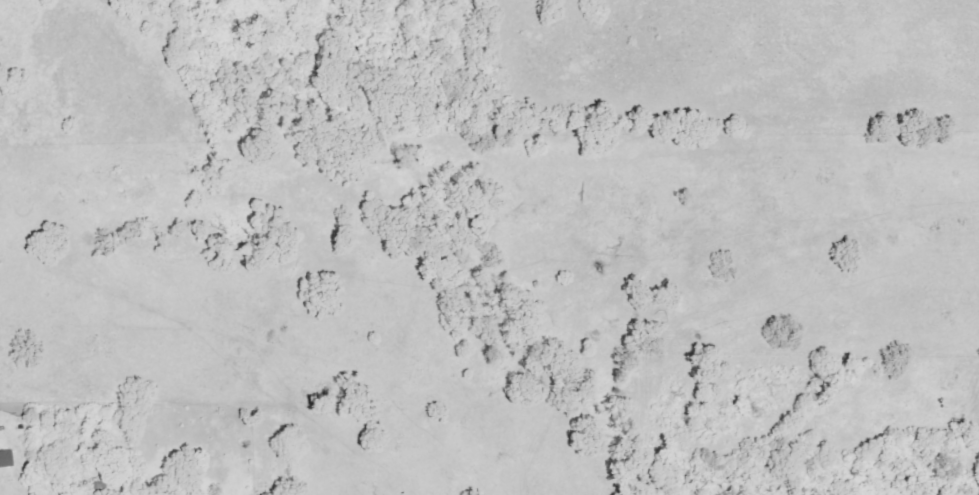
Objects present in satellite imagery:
building: (4, 459)

